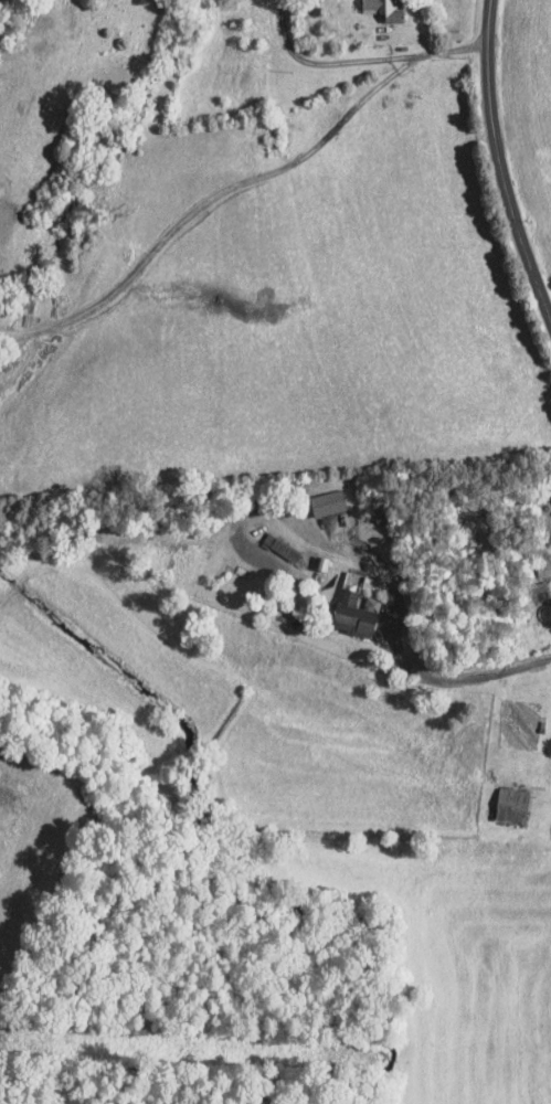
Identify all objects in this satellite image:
building: (372, 6)
road: (364, 59)
road: (502, 161)
building: (550, 495)
building: (326, 502)
building: (352, 613)
road: (454, 677)
building: (510, 804)

